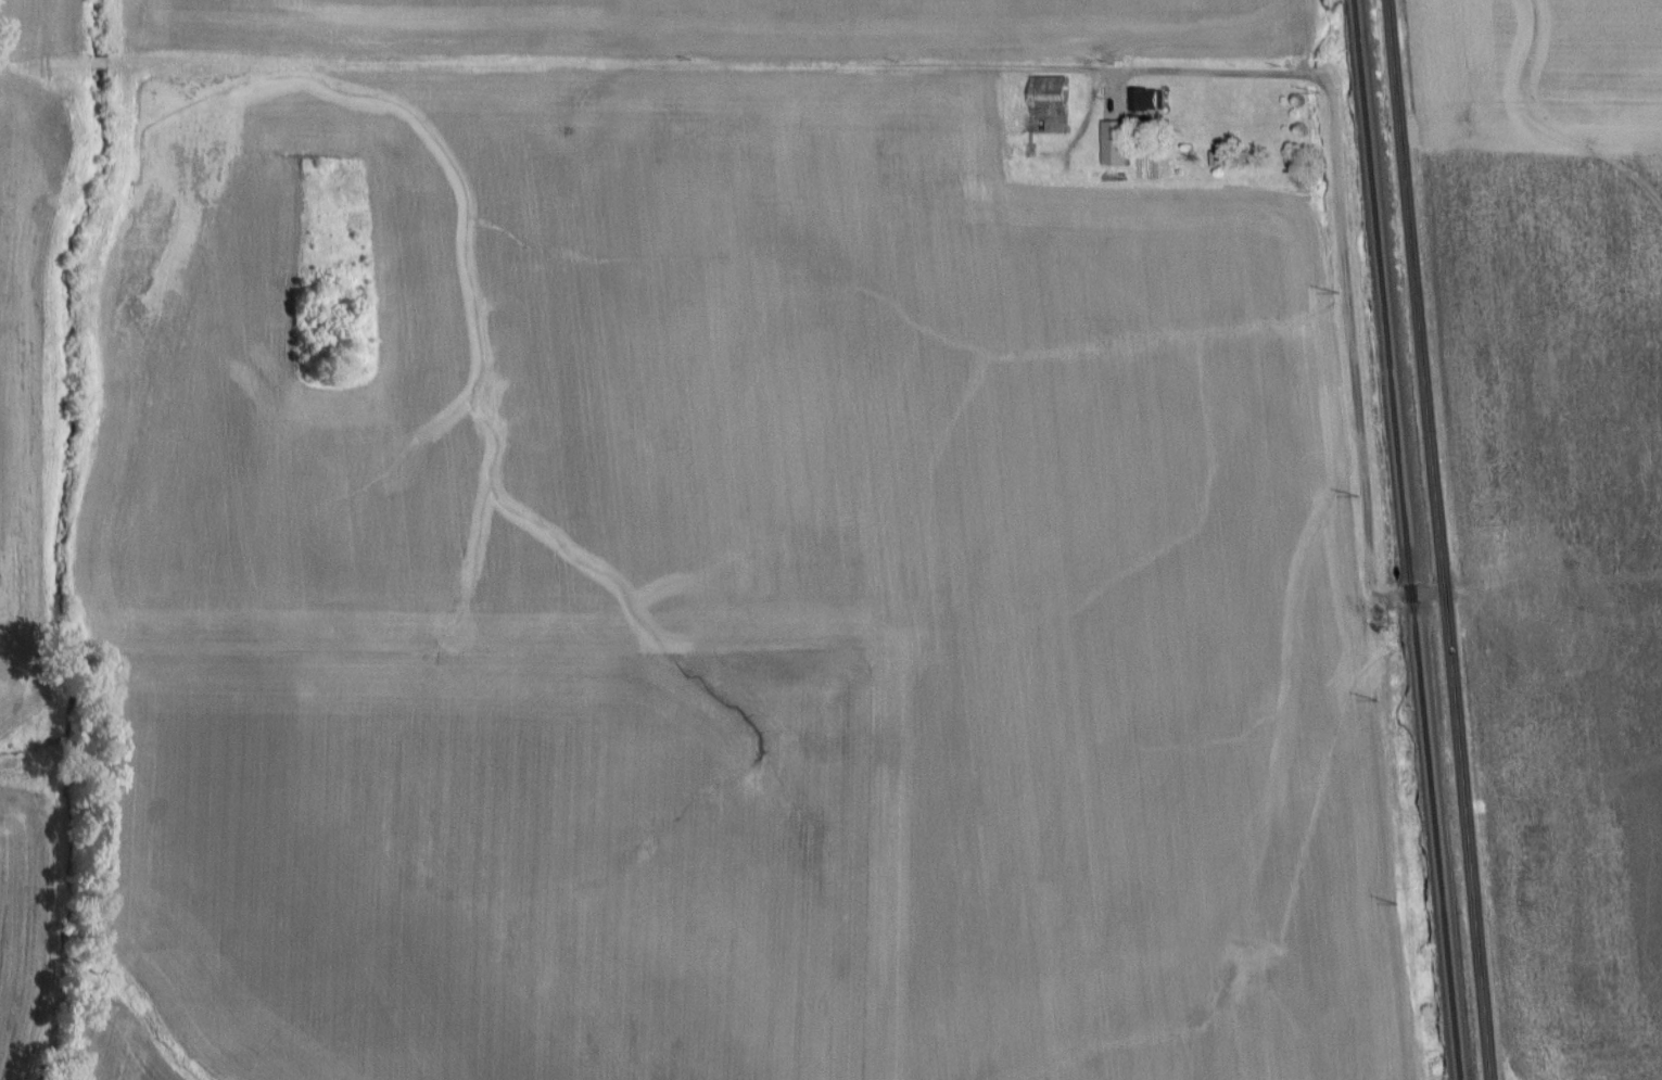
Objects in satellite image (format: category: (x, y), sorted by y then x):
building: (1045, 97)
building: (1144, 100)
building: (1113, 144)
road: (1342, 181)
railway: (1406, 539)
road: (1445, 539)

